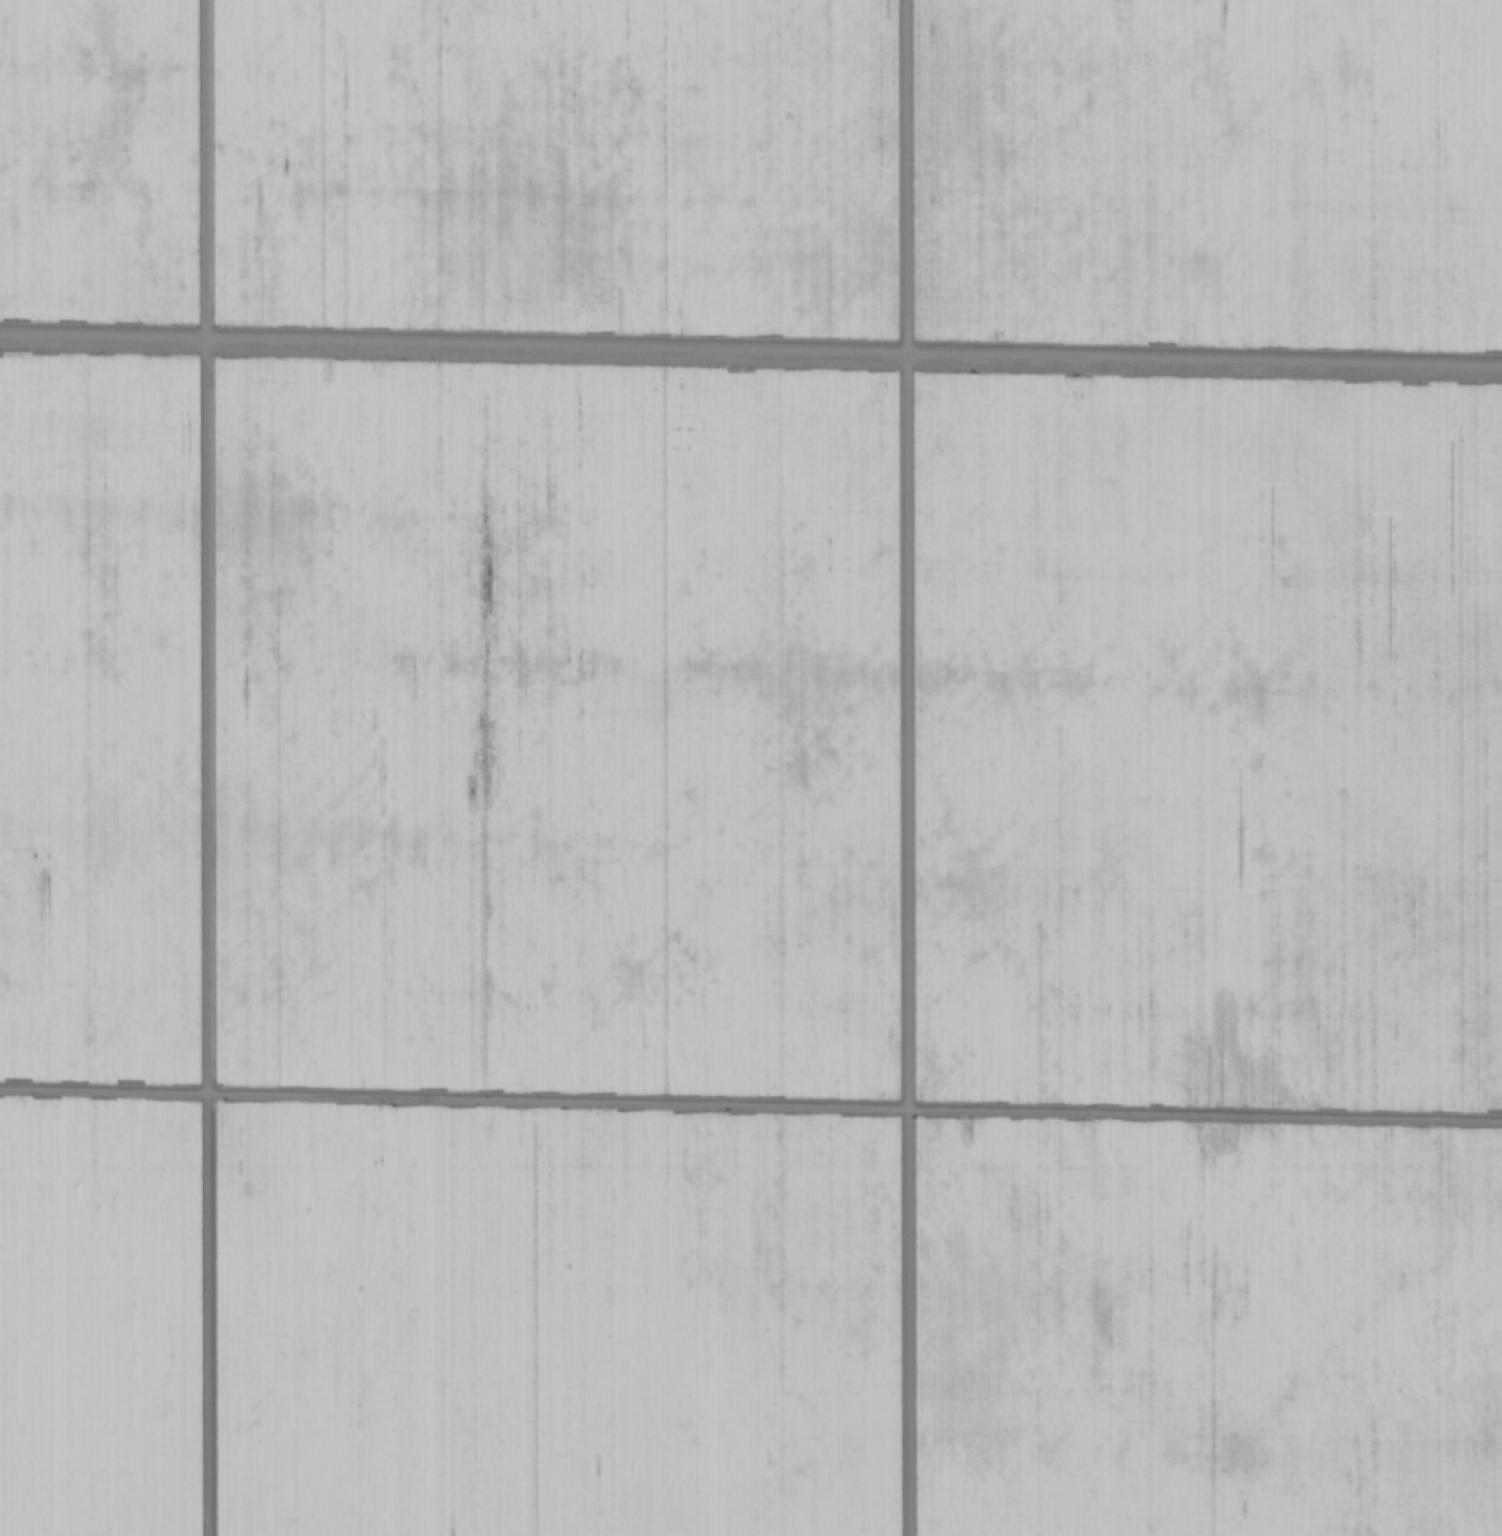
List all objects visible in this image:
crop: (751, 768)

